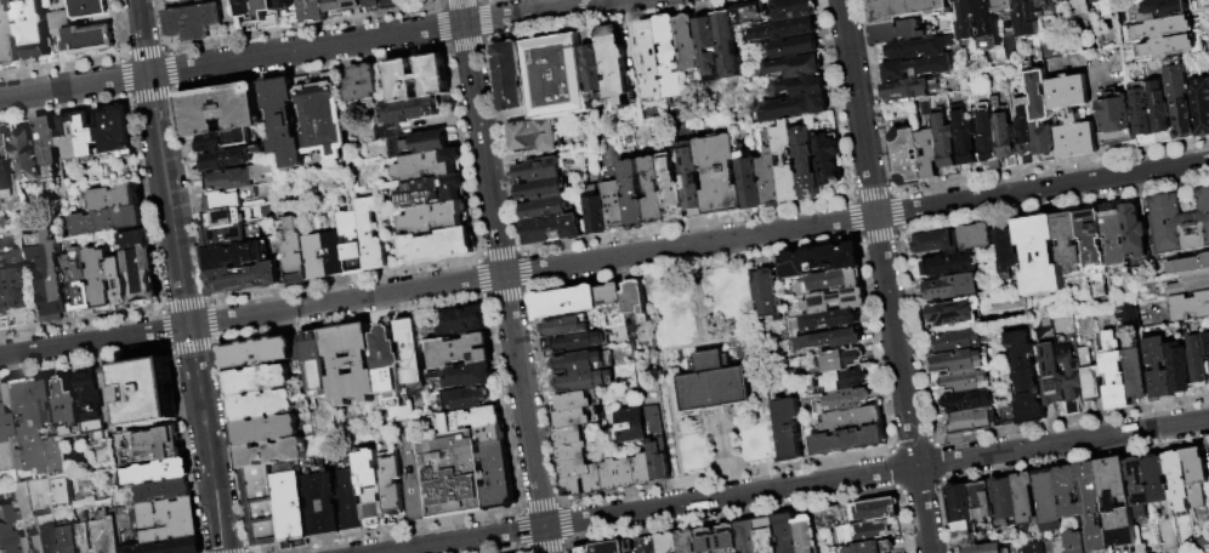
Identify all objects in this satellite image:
building: (75, 0)
building: (164, 0)
building: (176, 1)
building: (380, 4)
building: (354, 5)
building: (335, 6)
building: (1004, 6)
building: (1103, 6)
building: (1044, 7)
building: (91, 8)
building: (1084, 8)
building: (794, 10)
building: (906, 10)
building: (1163, 10)
building: (291, 11)
building: (314, 12)
road: (575, 12)
building: (269, 13)
building: (248, 16)
building: (750, 16)
building: (967, 19)
building: (1027, 19)
building: (195, 22)
building: (988, 24)
building: (34, 29)
building: (1163, 29)
building: (785, 30)
building: (897, 33)
building: (8, 36)
building: (80, 36)
building: (688, 44)
building: (708, 46)
building: (728, 46)
road: (305, 49)
building: (794, 49)
building: (1167, 49)
building: (920, 50)
building: (1, 58)
building: (671, 58)
building: (652, 64)
building: (615, 67)
building: (795, 68)
building: (918, 70)
building: (595, 72)
road: (1099, 72)
building: (511, 76)
building: (418, 79)
building: (363, 84)
building: (799, 87)
building: (551, 92)
building: (907, 92)
building: (1038, 95)
building: (1181, 102)
building: (1201, 107)
building: (1159, 108)
building: (793, 109)
building: (220, 110)
building: (1141, 110)
building: (322, 114)
building: (403, 118)
building: (1072, 118)
building: (285, 122)
building: (1116, 122)
road: (1097, 125)
building: (107, 132)
building: (124, 132)
building: (1026, 132)
building: (1004, 133)
building: (87, 137)
building: (988, 137)
building: (70, 139)
building: (965, 139)
building: (1046, 141)
building: (226, 142)
building: (946, 143)
building: (418, 144)
building: (50, 147)
building: (29, 154)
building: (929, 154)
building: (906, 158)
building: (234, 160)
building: (828, 160)
building: (7, 165)
building: (787, 165)
building: (807, 165)
building: (427, 166)
building: (539, 170)
building: (771, 173)
building: (720, 176)
building: (245, 179)
building: (691, 182)
building: (750, 183)
building: (541, 190)
building: (431, 193)
building: (671, 193)
building: (653, 194)
building: (634, 198)
building: (118, 199)
building: (223, 203)
building: (615, 206)
building: (545, 209)
building: (596, 215)
building: (436, 218)
building: (222, 220)
building: (112, 222)
building: (1179, 224)
building: (554, 230)
building: (1134, 233)
building: (371, 236)
building: (222, 238)
building: (975, 238)
building: (1116, 240)
building: (1068, 241)
building: (354, 243)
building: (936, 243)
building: (438, 247)
building: (1094, 249)
building: (295, 251)
building: (1005, 251)
building: (235, 256)
building: (336, 256)
building: (1038, 257)
building: (316, 258)
road: (603, 258)
building: (819, 261)
building: (950, 266)
building: (1188, 266)
building: (141, 269)
road: (504, 275)
road: (180, 276)
road: (885, 276)
building: (100, 278)
building: (53, 279)
building: (243, 280)
building: (834, 280)
building: (79, 283)
building: (1188, 285)
building: (952, 287)
building: (17, 290)
building: (0, 293)
building: (765, 293)
building: (834, 301)
building: (566, 302)
building: (0, 306)
building: (612, 306)
building: (634, 307)
building: (1188, 307)
building: (2, 313)
building: (954, 314)
building: (1125, 314)
building: (465, 320)
building: (829, 320)
building: (1, 326)
building: (562, 327)
road: (750, 336)
building: (829, 340)
building: (1208, 340)
building: (572, 342)
building: (955, 342)
building: (257, 352)
building: (411, 352)
building: (459, 352)
building: (314, 355)
building: (1198, 359)
building: (839, 360)
building: (958, 361)
building: (577, 363)
building: (350, 364)
building: (387, 367)
building: (1156, 367)
building: (1177, 369)
building: (1113, 372)
building: (1134, 375)
building: (464, 376)
building: (1049, 377)
building: (1089, 377)
building: (1024, 380)
building: (1069, 380)
building: (257, 381)
building: (584, 381)
building: (711, 381)
building: (839, 381)
building: (964, 382)
building: (149, 392)
building: (114, 398)
building: (466, 400)
building: (844, 400)
building: (579, 401)
building: (966, 401)
building: (47, 404)
building: (69, 404)
building: (95, 404)
building: (261, 405)
building: (580, 417)
building: (470, 420)
building: (850, 420)
building: (653, 422)
building: (969, 423)
building: (2, 427)
building: (630, 427)
building: (19, 428)
building: (787, 429)
building: (265, 431)
building: (493, 434)
building: (569, 435)
building: (848, 441)
building: (153, 446)
building: (573, 451)
building: (271, 454)
building: (56, 455)
building: (658, 460)
building: (574, 468)
building: (643, 469)
road: (679, 469)
building: (160, 472)
building: (410, 473)
building: (450, 474)
building: (618, 474)
building: (498, 477)
building: (1197, 477)
building: (1208, 477)
building: (595, 479)
building: (1157, 480)
building: (1177, 480)
building: (392, 485)
building: (574, 485)
road: (794, 486)
building: (370, 488)
building: (1139, 488)
building: (62, 492)
building: (1069, 492)
building: (152, 494)
building: (350, 500)
building: (1005, 500)
building: (1026, 501)
building: (19, 502)
building: (983, 502)
building: (1049, 503)
building: (322, 504)
building: (961, 504)
building: (1113, 504)
building: (260, 506)
building: (1094, 507)
building: (289, 511)
building: (875, 511)
building: (164, 514)
building: (834, 518)
building: (963, 528)
building: (6, 531)
building: (868, 532)
building: (170, 534)
building: (788, 534)
building: (807, 534)
building: (45, 535)
building: (98, 535)
building: (767, 536)
building: (748, 537)
building: (67, 540)
building: (966, 540)
building: (720, 541)
building: (689, 542)
building: (1078, 542)
building: (32, 543)
building: (670, 543)
building: (647, 546)
building: (171, 547)
building: (1032, 547)
building: (607, 548)
building: (873, 548)
building: (987, 549)

